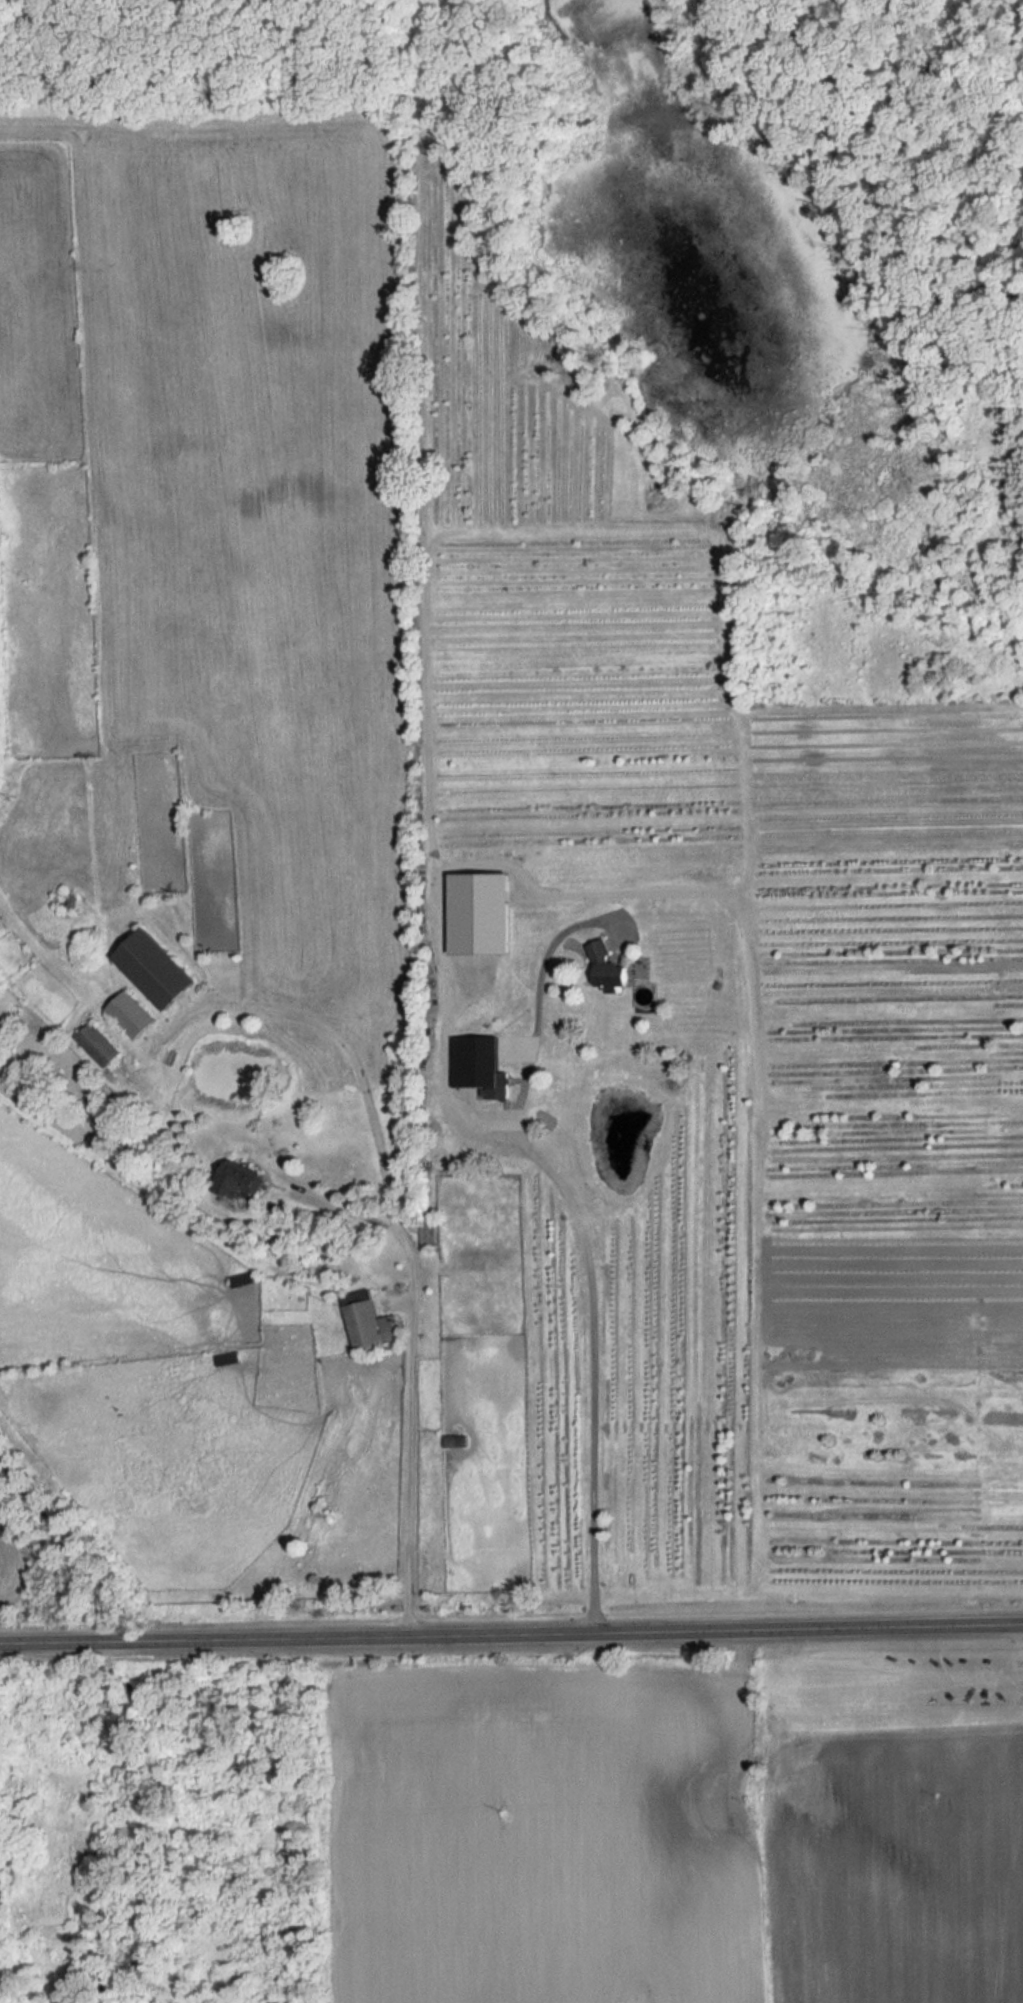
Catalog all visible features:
building: (609, 966)
building: (154, 967)
building: (130, 1013)
building: (99, 1043)
building: (479, 1063)
building: (241, 1178)
road: (349, 1203)
road: (405, 1231)
building: (429, 1232)
road: (584, 1243)
building: (368, 1321)
building: (457, 1440)
road: (511, 1635)
building: (1, 1886)

